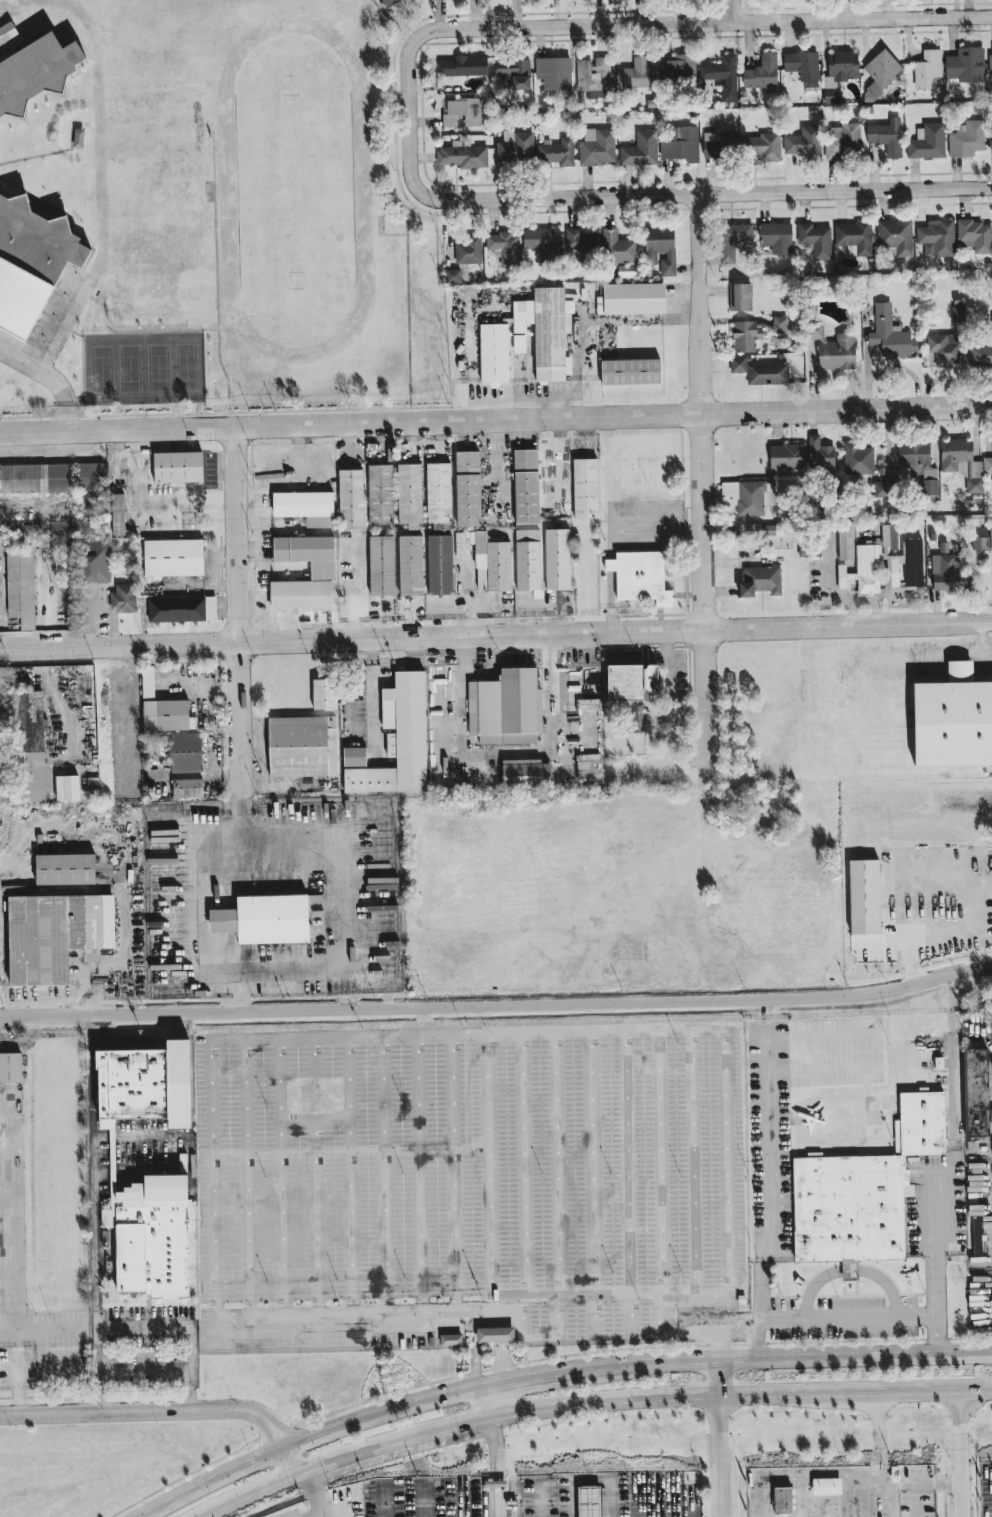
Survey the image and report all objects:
building: (390, 2)
road: (736, 10)
road: (604, 25)
building: (10, 40)
building: (990, 63)
building: (802, 65)
building: (464, 66)
building: (841, 66)
building: (966, 66)
building: (928, 69)
building: (678, 70)
building: (36, 71)
building: (555, 71)
building: (762, 72)
building: (882, 72)
building: (514, 73)
building: (638, 73)
building: (593, 74)
building: (722, 75)
building: (831, 95)
building: (463, 112)
building: (887, 136)
building: (990, 137)
building: (967, 139)
building: (843, 140)
building: (927, 141)
building: (804, 143)
building: (681, 144)
building: (720, 144)
building: (597, 146)
building: (763, 146)
building: (516, 148)
building: (640, 149)
building: (557, 151)
building: (463, 155)
track: (295, 189)
road: (724, 194)
building: (976, 235)
building: (776, 236)
building: (855, 236)
building: (896, 236)
building: (937, 238)
building: (733, 240)
building: (816, 240)
building: (542, 242)
building: (602, 244)
building: (505, 247)
building: (661, 247)
building: (469, 250)
building: (31, 261)
building: (453, 275)
road: (216, 279)
building: (740, 297)
building: (635, 298)
road: (408, 305)
building: (959, 313)
building: (796, 323)
building: (991, 323)
building: (754, 332)
building: (551, 334)
building: (890, 334)
building: (519, 343)
building: (833, 348)
building: (944, 349)
building: (496, 353)
building: (980, 355)
building: (738, 364)
park: (145, 366)
building: (632, 371)
building: (767, 373)
road: (51, 379)
road: (496, 419)
road: (120, 452)
building: (820, 454)
building: (787, 456)
building: (962, 461)
building: (919, 464)
building: (987, 465)
building: (179, 467)
building: (90, 477)
building: (37, 478)
building: (528, 486)
building: (469, 488)
building: (586, 488)
road: (704, 489)
building: (883, 489)
building: (380, 494)
building: (410, 494)
building: (439, 494)
building: (750, 496)
building: (351, 498)
building: (304, 504)
building: (117, 514)
building: (79, 528)
building: (32, 529)
building: (770, 530)
building: (982, 538)
building: (845, 540)
building: (308, 552)
building: (174, 557)
building: (528, 559)
building: (558, 559)
building: (902, 559)
building: (494, 560)
building: (96, 561)
building: (441, 564)
building: (383, 565)
building: (412, 565)
building: (943, 566)
building: (863, 570)
building: (641, 576)
building: (760, 581)
building: (21, 582)
building: (300, 592)
building: (126, 598)
building: (182, 608)
road: (849, 626)
road: (238, 628)
road: (353, 639)
road: (961, 657)
building: (629, 682)
road: (667, 684)
building: (325, 694)
road: (457, 695)
road: (551, 695)
building: (506, 707)
building: (163, 708)
building: (955, 719)
building: (637, 720)
building: (2, 735)
building: (399, 740)
building: (303, 746)
building: (187, 752)
building: (354, 756)
building: (589, 765)
building: (530, 775)
building: (93, 783)
building: (67, 787)
building: (189, 788)
building: (65, 869)
park: (786, 896)
building: (864, 897)
building: (265, 919)
road: (937, 926)
building: (56, 934)
road: (301, 974)
road: (236, 994)
road: (497, 1004)
road: (874, 1052)
road: (313, 1056)
building: (10, 1067)
building: (155, 1078)
building: (976, 1090)
road: (313, 1122)
building: (923, 1122)
parking lot: (770, 1140)
road: (693, 1160)
road: (661, 1161)
road: (590, 1163)
road: (95, 1169)
road: (490, 1170)
road: (451, 1174)
road: (349, 1175)
road: (420, 1175)
road: (385, 1176)
road: (278, 1177)
road: (947, 1177)
road: (627, 1182)
road: (522, 1183)
road: (557, 1183)
parking lot: (476, 1186)
road: (248, 1191)
road: (771, 1193)
road: (9, 1200)
building: (848, 1207)
parking lot: (940, 1209)
road: (315, 1232)
building: (157, 1233)
building: (977, 1235)
road: (20, 1255)
building: (850, 1268)
road: (850, 1270)
road: (886, 1284)
road: (814, 1286)
parking lot: (980, 1303)
road: (497, 1311)
road: (219, 1313)
road: (593, 1313)
parking lot: (847, 1315)
road: (851, 1316)
road: (502, 1321)
road: (497, 1322)
road: (185, 1325)
road: (281, 1329)
road: (219, 1330)
road: (506, 1333)
building: (494, 1334)
road: (496, 1334)
road: (683, 1334)
road: (11, 1338)
building: (451, 1339)
road: (475, 1347)
road: (496, 1351)
road: (506, 1351)
road: (780, 1356)
parking lot: (19, 1367)
road: (97, 1368)
road: (496, 1370)
road: (528, 1376)
road: (722, 1377)
road: (488, 1380)
road: (742, 1395)
road: (491, 1400)
road: (151, 1409)
road: (386, 1410)
road: (880, 1436)
road: (397, 1441)
road: (494, 1448)
road: (961, 1454)
road: (724, 1456)
road: (294, 1458)
road: (212, 1478)
road: (939, 1481)
road: (310, 1483)
road: (495, 1483)
building: (832, 1488)
parking lot: (985, 1489)
parking lot: (842, 1491)
road: (249, 1492)
airport: (671, 1494)
parking lot: (522, 1496)
road: (540, 1498)
road: (573, 1499)
road: (611, 1499)
road: (320, 1500)
road: (496, 1501)
building: (589, 1501)
building: (788, 1501)
road: (321, 1507)
road: (337, 1507)
road: (916, 1508)
parking lot: (290, 1510)
road: (310, 1513)
road: (322, 1513)

